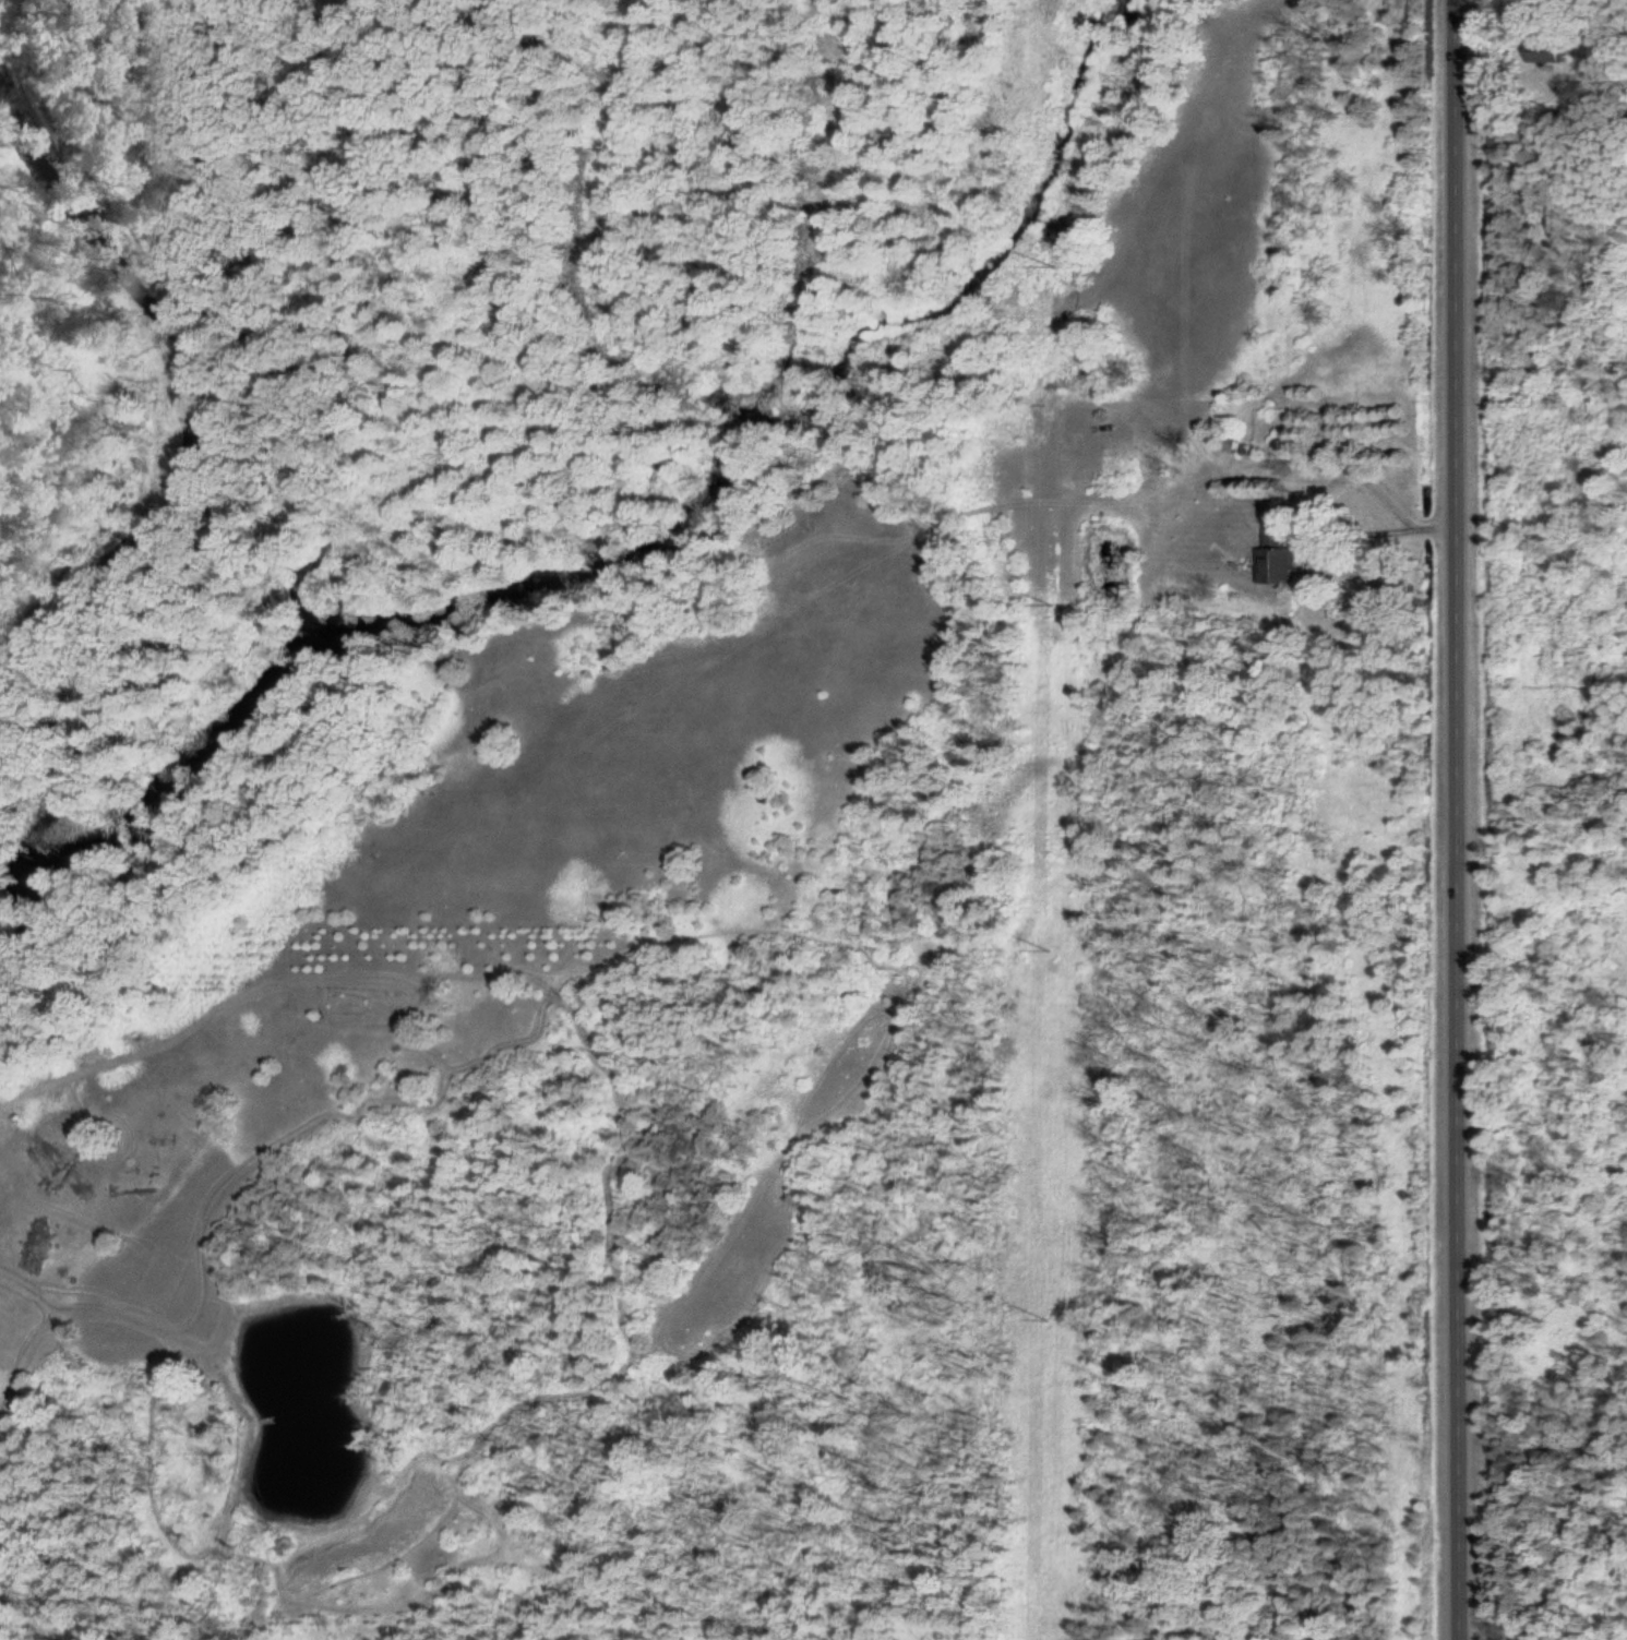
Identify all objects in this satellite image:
building: (1553, 52)
building: (1281, 531)
building: (1282, 566)
road: (1452, 819)

